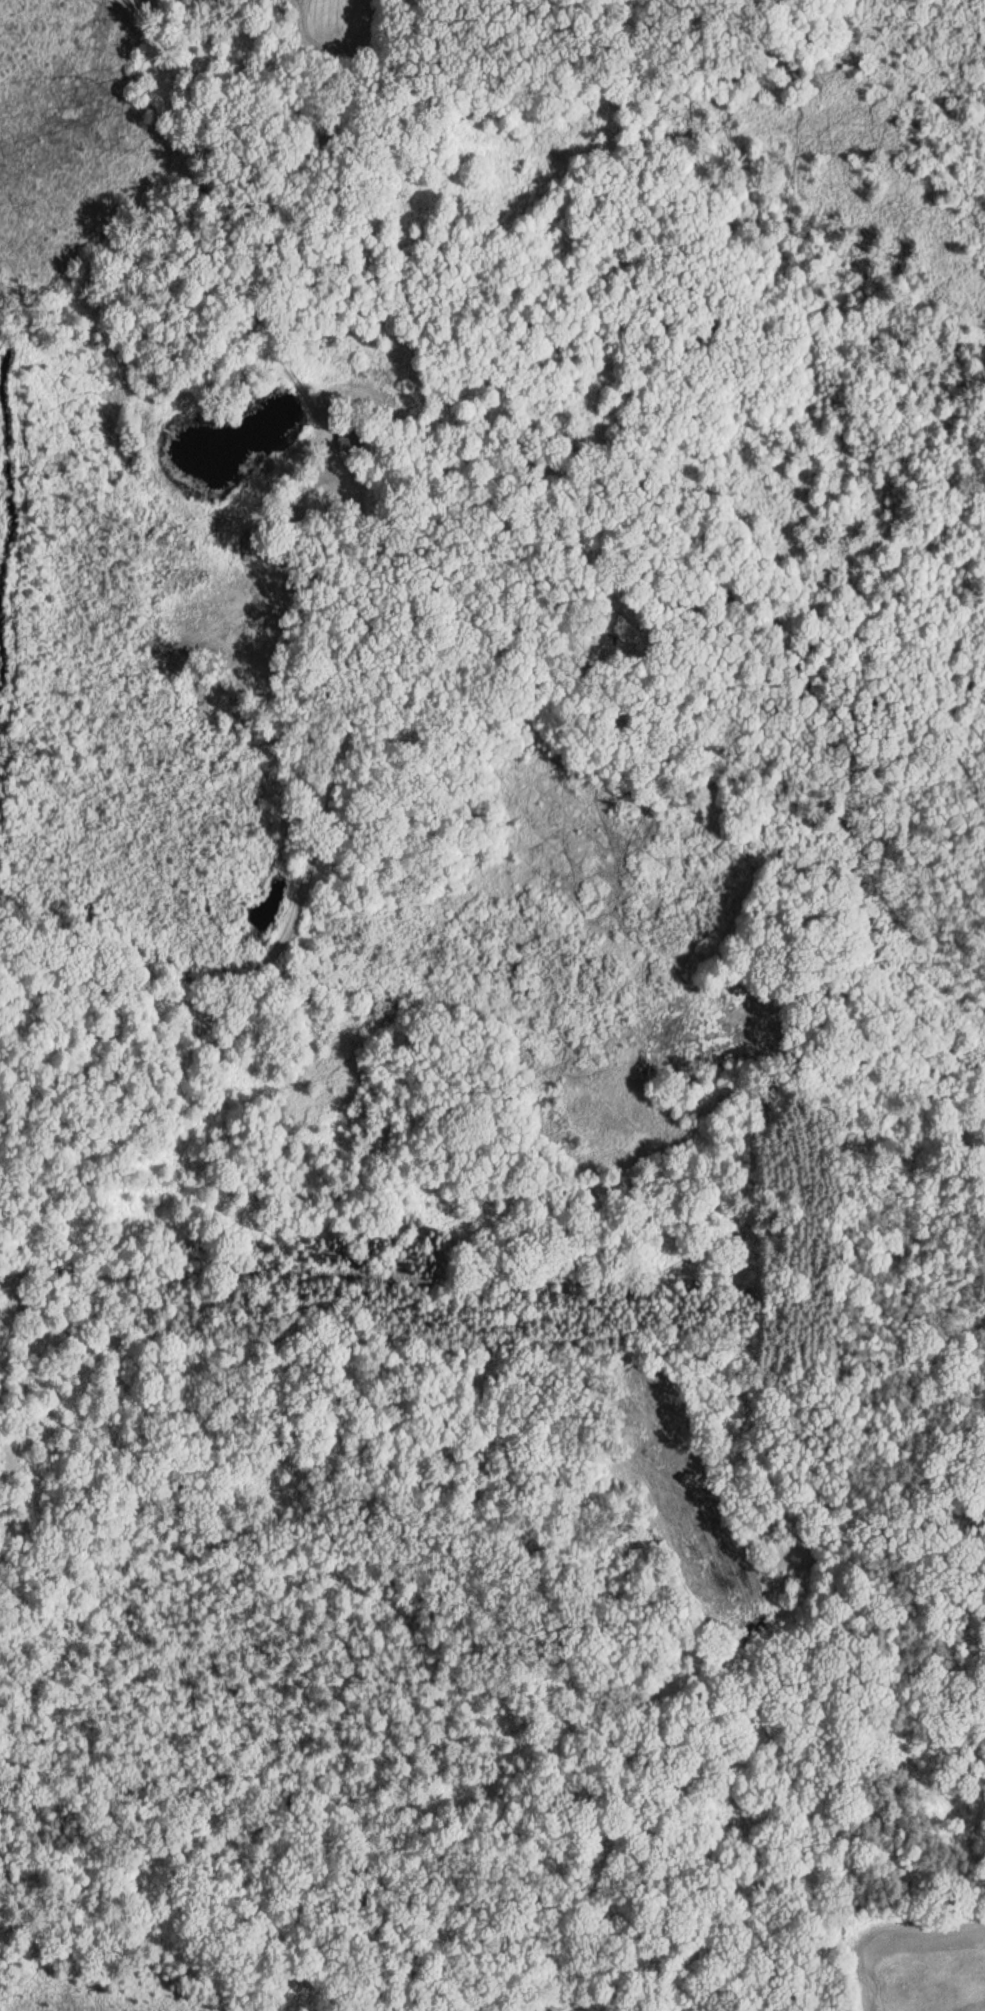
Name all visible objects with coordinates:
building: (347, 439)

